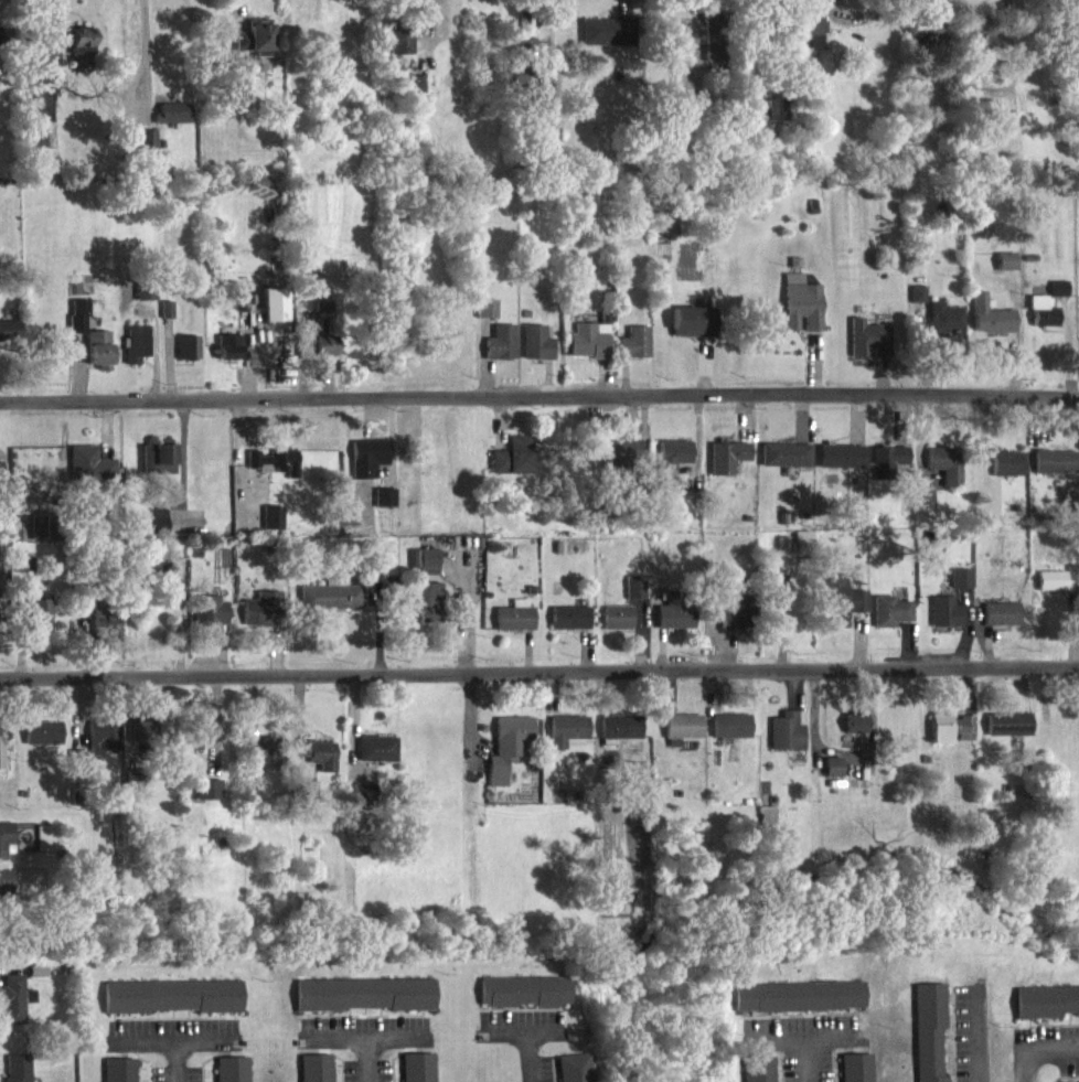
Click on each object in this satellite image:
building: (970, 34)
building: (258, 36)
building: (607, 41)
building: (812, 41)
building: (923, 43)
building: (672, 45)
road: (145, 46)
building: (713, 46)
building: (399, 49)
building: (81, 57)
building: (1076, 113)
building: (772, 120)
building: (171, 124)
building: (34, 142)
building: (147, 149)
building: (1006, 271)
building: (1059, 301)
building: (145, 302)
building: (917, 304)
building: (242, 309)
building: (273, 314)
building: (800, 314)
building: (485, 319)
building: (165, 320)
building: (322, 320)
building: (1043, 321)
building: (78, 325)
building: (991, 326)
building: (944, 330)
building: (693, 332)
building: (8, 341)
building: (867, 350)
building: (587, 351)
building: (136, 353)
building: (500, 353)
building: (535, 353)
building: (634, 353)
building: (317, 355)
building: (186, 357)
building: (227, 357)
building: (98, 360)
road: (538, 409)
building: (619, 460)
building: (673, 463)
building: (784, 464)
building: (840, 465)
building: (512, 467)
building: (726, 467)
building: (366, 468)
building: (157, 469)
building: (274, 471)
building: (887, 471)
building: (1055, 471)
building: (1005, 472)
building: (88, 474)
building: (944, 474)
building: (0, 483)
building: (384, 507)
building: (923, 508)
building: (271, 527)
building: (154, 528)
building: (41, 537)
building: (792, 558)
building: (423, 570)
building: (23, 575)
building: (960, 588)
building: (1056, 589)
building: (633, 598)
building: (329, 606)
building: (428, 612)
building: (844, 612)
building: (39, 618)
building: (210, 620)
building: (889, 621)
building: (944, 621)
building: (258, 622)
building: (672, 622)
building: (736, 624)
building: (1001, 624)
building: (96, 626)
building: (513, 626)
building: (568, 628)
building: (615, 628)
road: (539, 673)
building: (855, 733)
building: (730, 736)
building: (1009, 736)
building: (682, 737)
building: (618, 738)
building: (950, 739)
building: (141, 740)
building: (194, 740)
building: (566, 741)
building: (787, 741)
building: (41, 742)
building: (102, 742)
building: (506, 757)
building: (375, 759)
building: (263, 762)
building: (316, 763)
building: (0, 767)
building: (833, 776)
building: (206, 800)
building: (362, 803)
building: (767, 825)
building: (4, 847)
building: (6, 892)
building: (35, 981)
building: (522, 1001)
building: (363, 1005)
building: (171, 1007)
building: (797, 1007)
building: (13, 1009)
building: (1045, 1011)
road: (171, 1031)
road: (366, 1035)
road: (802, 1036)
building: (928, 1036)
road: (977, 1036)
road: (1035, 1044)
road: (534, 1054)
road: (180, 1057)
road: (367, 1058)
road: (802, 1059)
building: (418, 1072)
building: (17, 1073)
building: (314, 1073)
building: (573, 1073)
building: (855, 1073)
building: (232, 1074)
building: (757, 1074)
building: (118, 1075)

